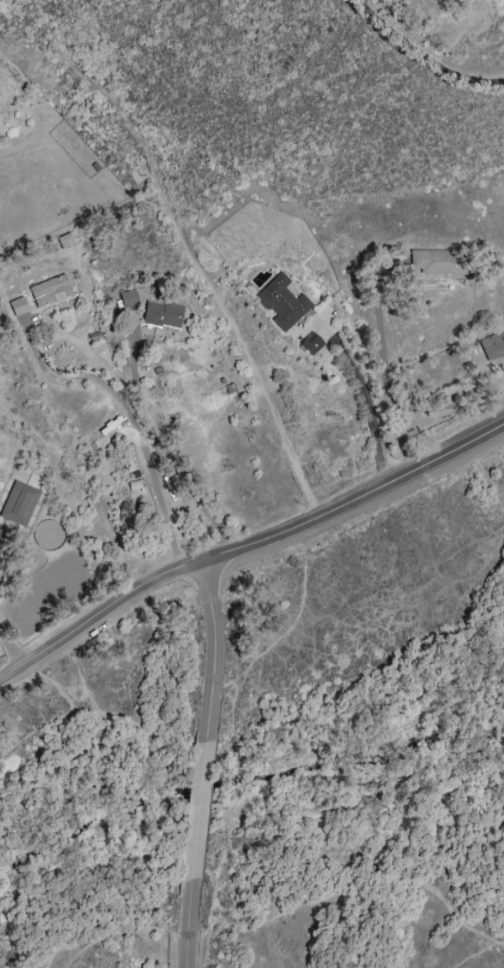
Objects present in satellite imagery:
road: (429, 53)
building: (65, 241)
building: (437, 263)
building: (49, 291)
building: (128, 298)
building: (282, 302)
building: (17, 306)
building: (162, 314)
building: (310, 344)
building: (492, 346)
road: (135, 367)
road: (368, 397)
road: (389, 398)
road: (128, 422)
building: (18, 503)
building: (0, 535)
road: (247, 545)
road: (10, 650)
road: (213, 651)
road: (245, 669)
road: (73, 714)
road: (195, 812)
road: (186, 924)
road: (251, 926)
road: (476, 952)

